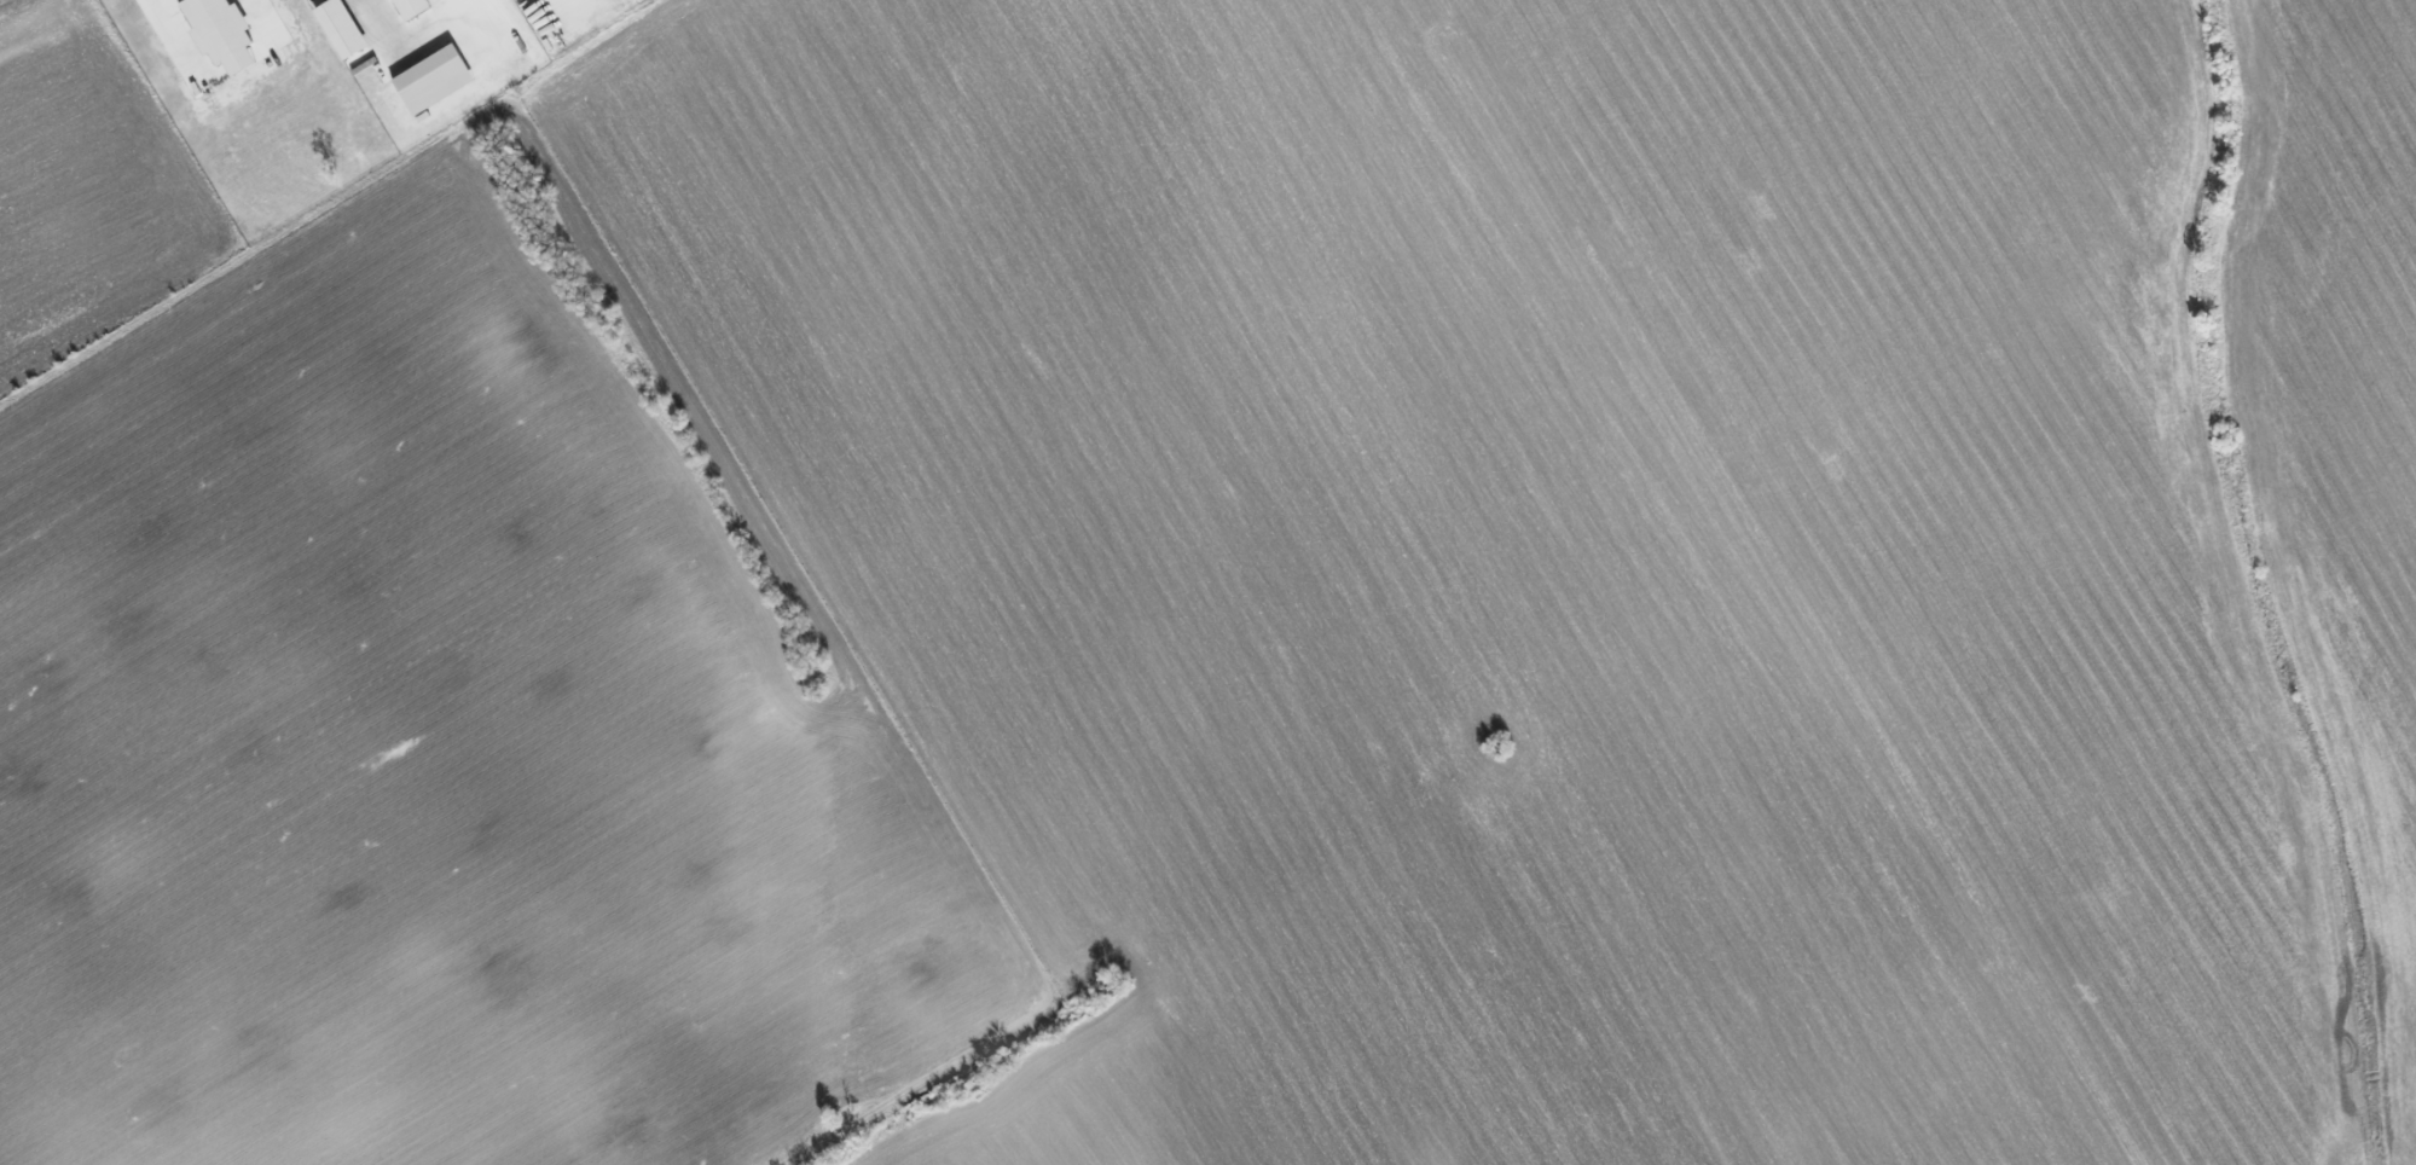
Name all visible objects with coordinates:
building: (402, 10)
building: (341, 28)
building: (228, 30)
road: (412, 39)
road: (180, 40)
building: (427, 85)
crop: (153, 715)

